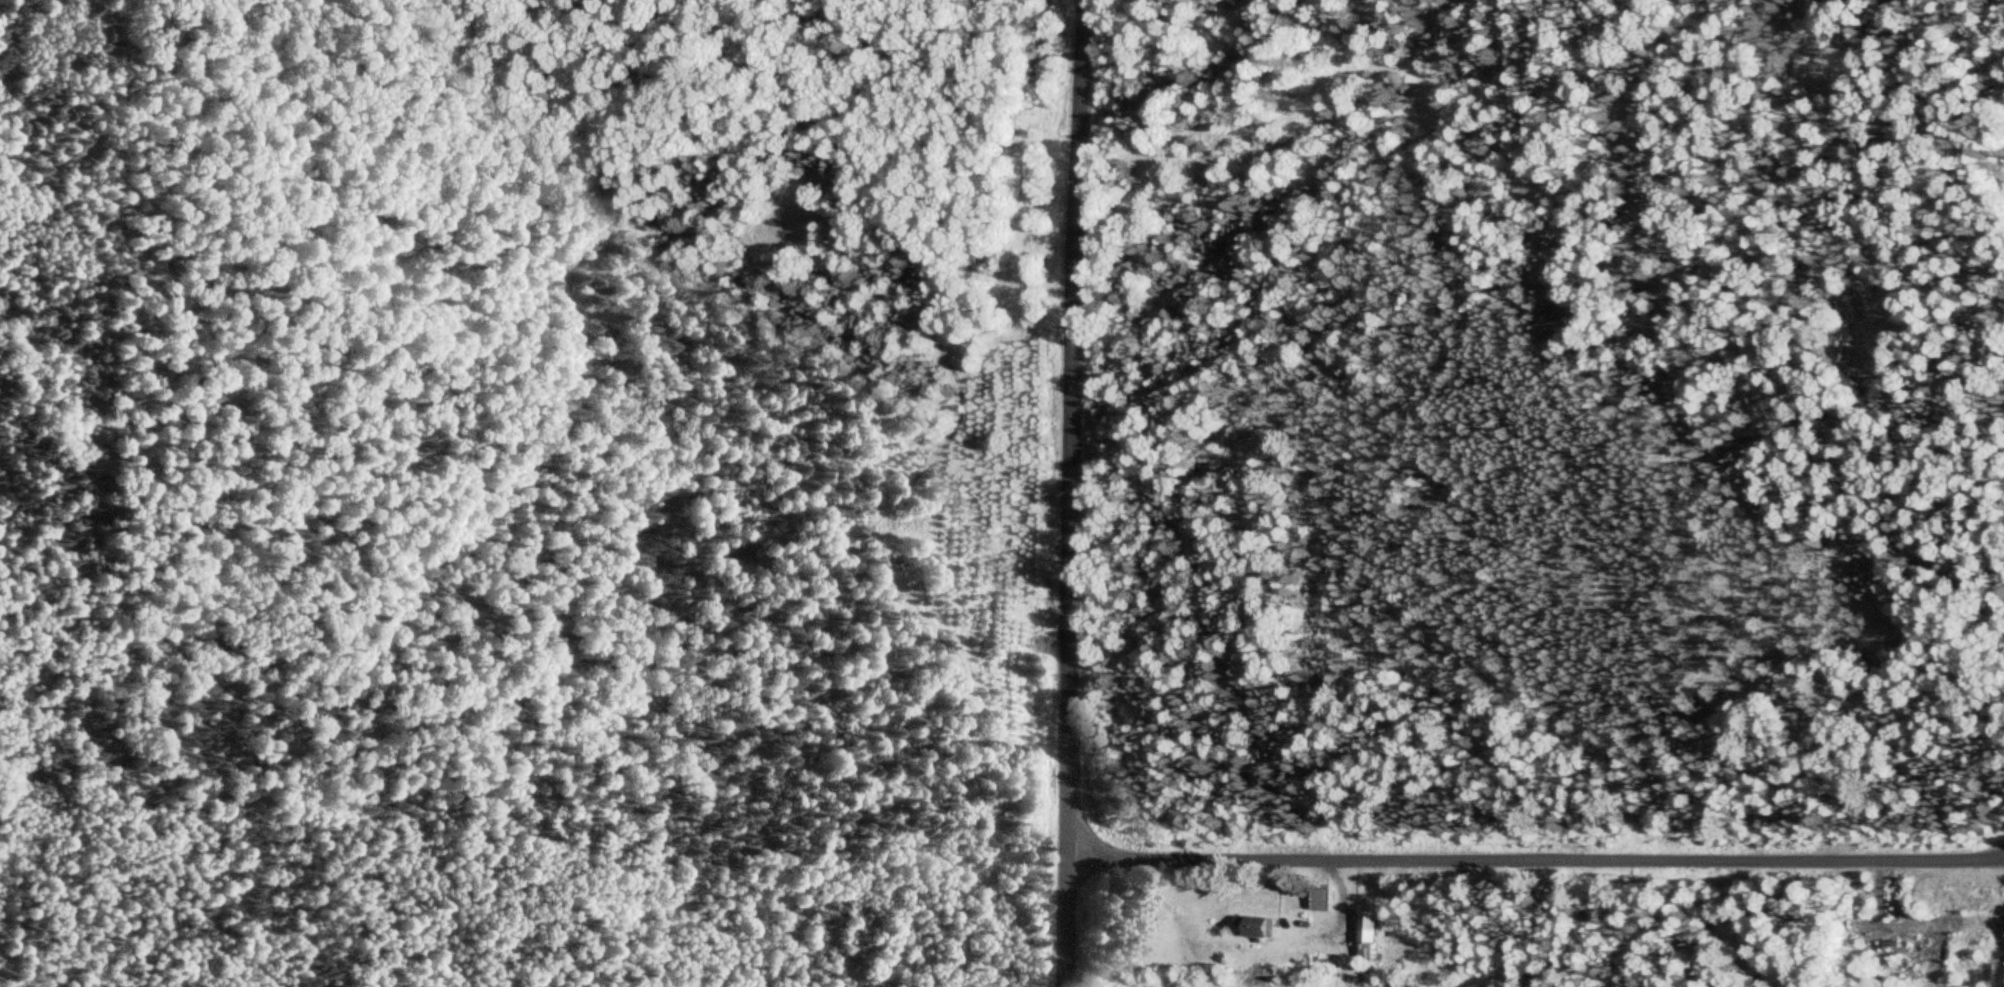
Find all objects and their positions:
road: (1083, 493)
road: (1538, 861)
building: (1324, 900)

